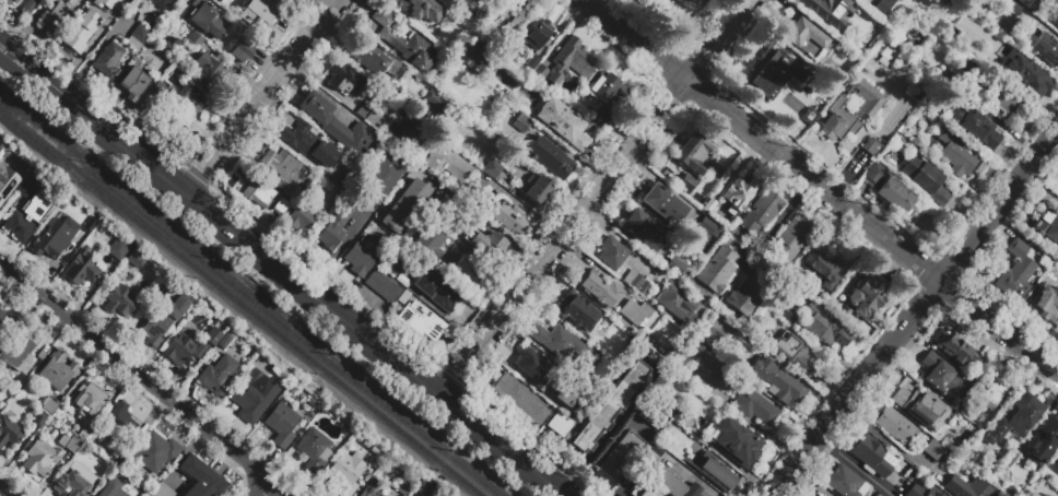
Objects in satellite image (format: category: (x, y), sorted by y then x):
building: (685, 0)
building: (898, 0)
building: (1057, 0)
building: (10, 1)
building: (1024, 2)
building: (102, 3)
building: (160, 3)
building: (862, 3)
building: (881, 4)
building: (27, 7)
building: (1012, 7)
building: (118, 10)
building: (828, 10)
building: (424, 12)
building: (1054, 15)
building: (54, 16)
building: (257, 16)
building: (204, 19)
building: (514, 24)
building: (81, 31)
building: (533, 34)
building: (803, 34)
building: (137, 36)
building: (193, 40)
building: (403, 42)
building: (1039, 46)
building: (242, 49)
building: (479, 49)
building: (857, 49)
road: (93, 54)
building: (885, 56)
building: (375, 60)
building: (109, 61)
building: (569, 61)
building: (531, 62)
building: (915, 67)
building: (211, 70)
building: (540, 72)
building: (775, 72)
building: (839, 75)
building: (1030, 78)
road: (316, 80)
building: (343, 80)
building: (133, 83)
building: (158, 88)
building: (609, 88)
road: (91, 90)
building: (391, 91)
road: (63, 96)
road: (262, 96)
building: (191, 97)
building: (997, 98)
building: (438, 106)
building: (863, 110)
building: (806, 111)
building: (368, 115)
building: (599, 117)
building: (771, 117)
building: (563, 122)
building: (519, 123)
building: (337, 126)
building: (403, 129)
building: (976, 129)
building: (310, 144)
building: (871, 146)
building: (694, 152)
building: (956, 155)
building: (550, 158)
building: (447, 165)
building: (491, 167)
building: (979, 168)
building: (281, 169)
road: (198, 174)
building: (873, 174)
building: (384, 178)
building: (5, 180)
building: (343, 180)
building: (927, 180)
building: (685, 184)
road: (821, 187)
building: (23, 188)
building: (539, 189)
building: (739, 190)
building: (257, 191)
building: (895, 197)
road: (593, 198)
building: (331, 199)
building: (1, 201)
building: (663, 203)
building: (281, 205)
building: (407, 205)
building: (445, 210)
building: (761, 212)
building: (26, 216)
building: (301, 217)
building: (510, 217)
road: (779, 219)
building: (89, 225)
building: (706, 225)
building: (1046, 226)
building: (333, 229)
building: (643, 229)
building: (792, 237)
road: (618, 238)
building: (48, 239)
building: (431, 243)
building: (486, 244)
building: (117, 248)
road: (333, 251)
building: (611, 252)
building: (362, 256)
building: (134, 257)
building: (815, 264)
building: (391, 265)
building: (675, 265)
building: (846, 267)
building: (718, 268)
building: (1016, 269)
building: (82, 271)
road: (326, 274)
building: (463, 274)
building: (636, 282)
building: (168, 286)
building: (381, 286)
building: (597, 286)
building: (438, 291)
building: (744, 296)
building: (866, 296)
railway: (248, 298)
building: (119, 300)
building: (677, 300)
railway: (240, 304)
building: (1044, 305)
building: (635, 311)
road: (914, 311)
building: (578, 312)
building: (788, 314)
building: (3, 320)
building: (421, 320)
building: (162, 321)
road: (345, 321)
building: (822, 326)
building: (212, 335)
building: (709, 339)
building: (224, 340)
building: (555, 340)
building: (181, 349)
building: (955, 349)
building: (19, 350)
building: (792, 353)
road: (777, 364)
building: (981, 366)
building: (716, 367)
building: (56, 370)
building: (537, 370)
road: (512, 371)
road: (451, 374)
building: (939, 374)
building: (218, 375)
road: (145, 380)
building: (17, 381)
building: (776, 382)
building: (992, 390)
building: (7, 395)
building: (569, 397)
building: (519, 398)
building: (86, 400)
building: (250, 400)
building: (697, 401)
building: (49, 405)
building: (609, 406)
building: (754, 406)
building: (919, 408)
building: (675, 411)
building: (966, 412)
building: (1015, 418)
building: (37, 420)
building: (280, 422)
building: (119, 423)
building: (560, 424)
road: (515, 425)
building: (895, 426)
road: (608, 432)
building: (9, 433)
building: (83, 433)
road: (880, 436)
building: (974, 436)
building: (734, 441)
building: (1042, 441)
building: (68, 442)
building: (984, 446)
building: (314, 449)
building: (931, 449)
building: (154, 451)
building: (622, 454)
building: (872, 456)
building: (1008, 457)
building: (39, 458)
building: (116, 458)
road: (854, 464)
building: (1057, 465)
building: (101, 469)
building: (348, 471)
building: (712, 471)
road: (576, 473)
building: (666, 474)
building: (200, 477)
building: (844, 482)
building: (69, 484)
building: (401, 485)
building: (423, 487)
building: (967, 487)
building: (111, 488)
building: (160, 488)
building: (371, 488)
road: (595, 488)
road: (268, 489)
road: (5, 491)
building: (642, 491)
building: (921, 491)
building: (814, 495)

